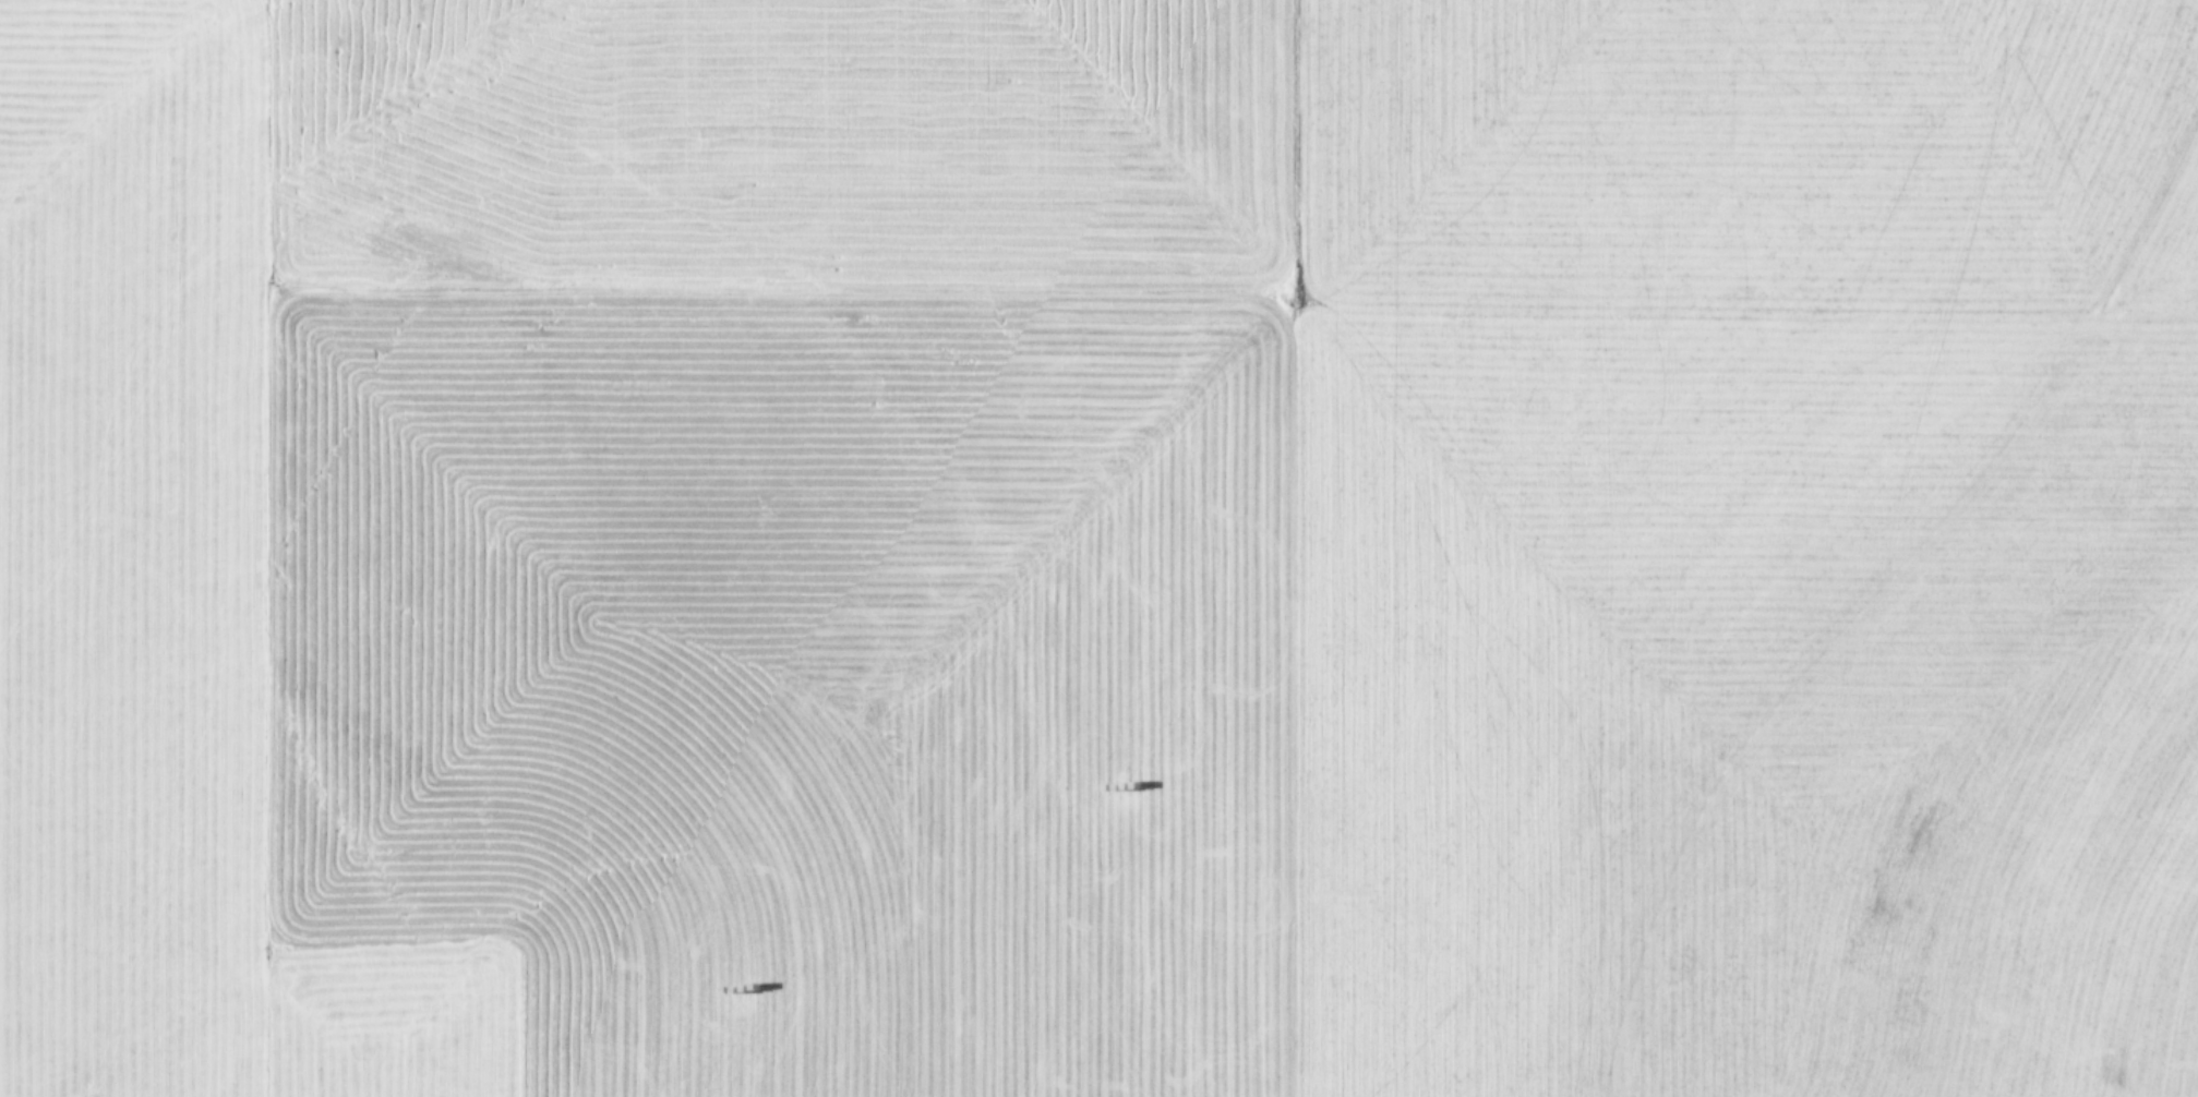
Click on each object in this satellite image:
crop: (1098, 548)

